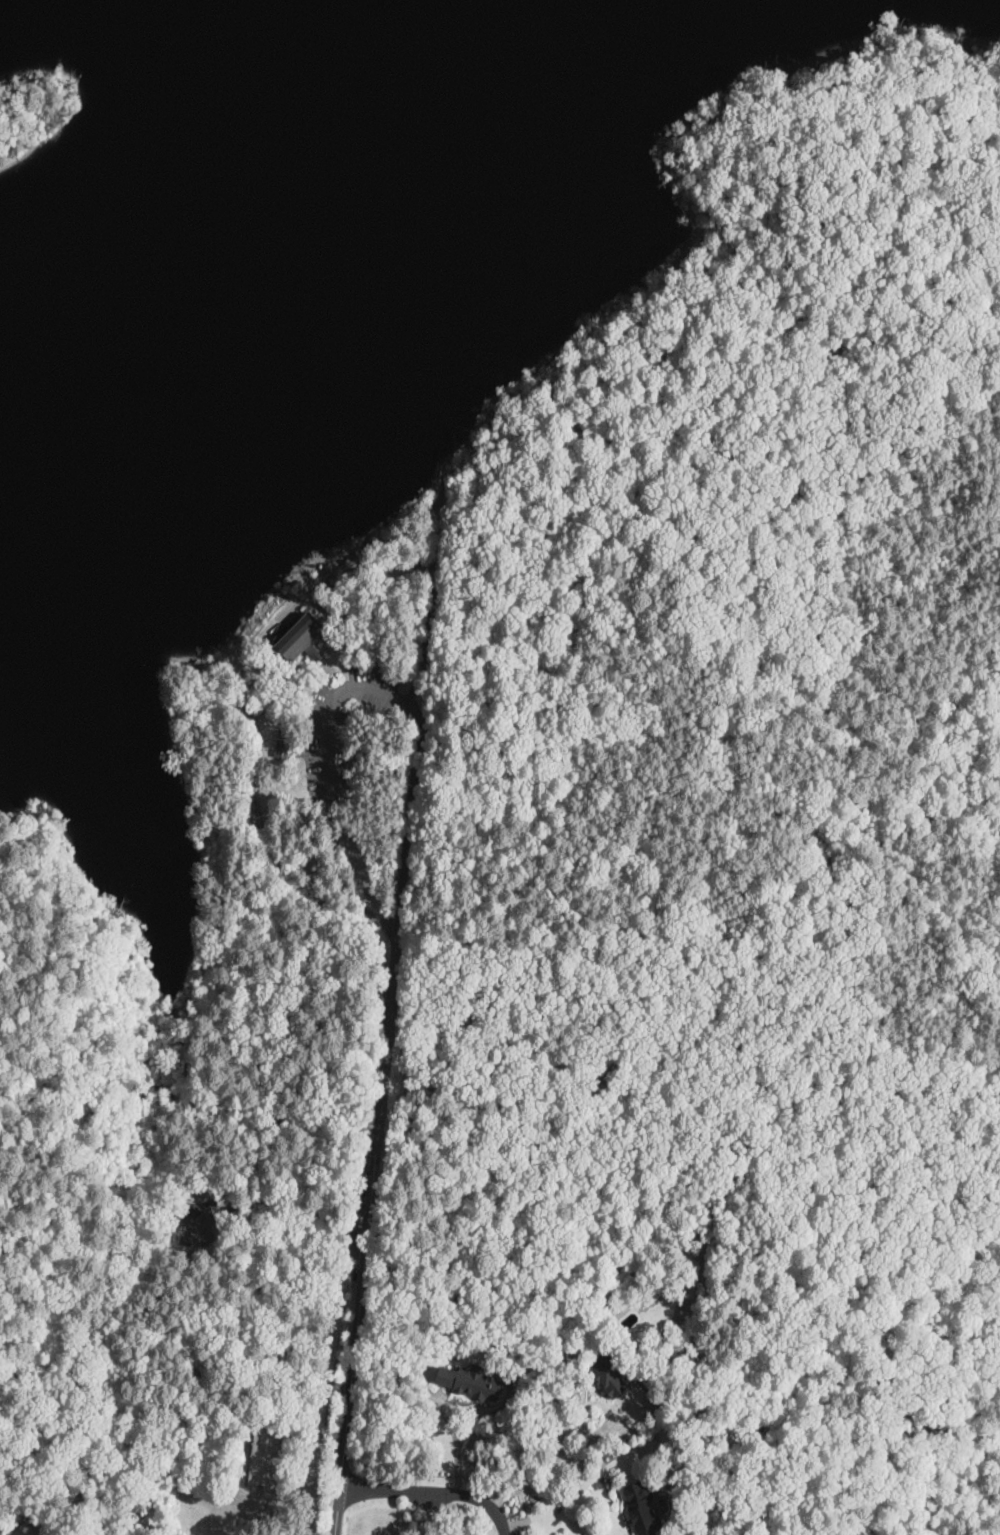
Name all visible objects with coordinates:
road: (345, 569)
building: (298, 638)
parking lot: (343, 733)
park: (619, 760)
road: (330, 769)
road: (386, 927)
road: (388, 1044)
road: (676, 1106)
road: (256, 1142)
building: (604, 1373)
building: (466, 1381)
road: (456, 1437)
building: (263, 1456)
road: (567, 1464)
road: (434, 1491)
road: (561, 1500)
building: (638, 1509)

